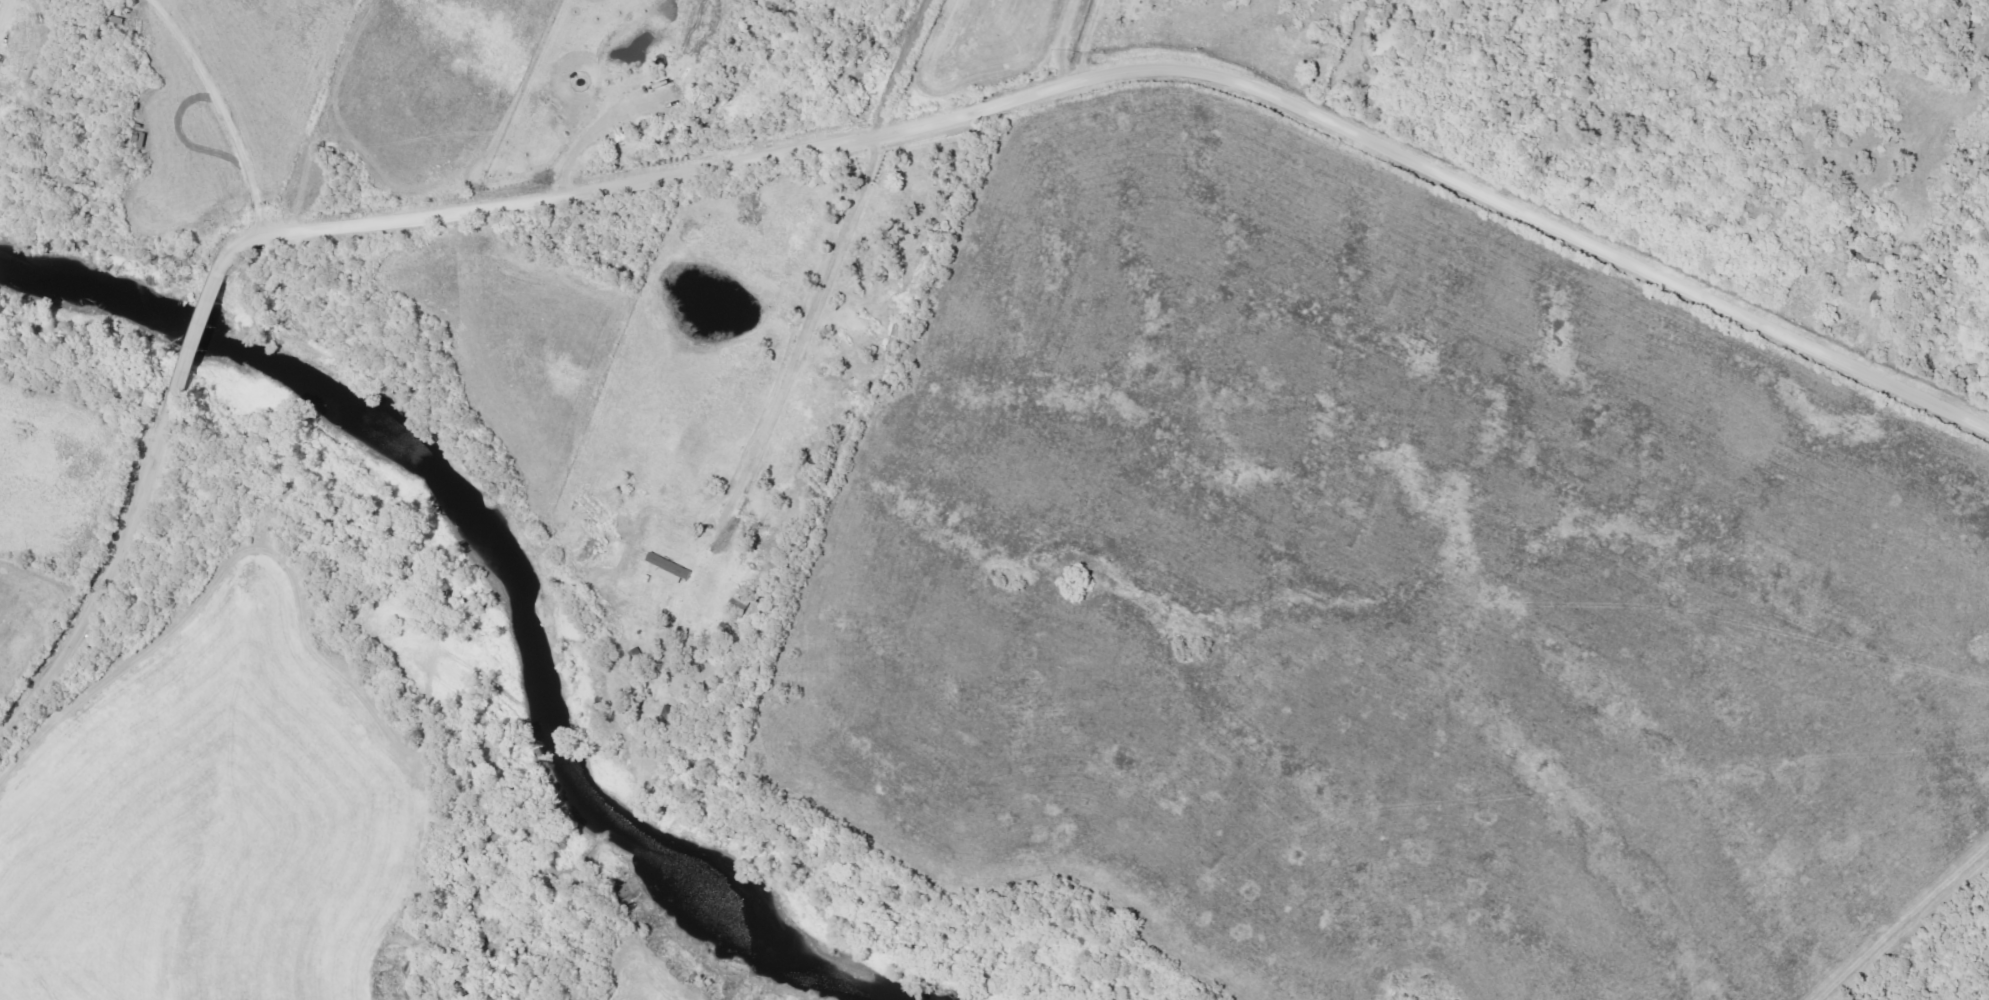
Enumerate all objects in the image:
road: (903, 64)
road: (1129, 65)
road: (221, 111)
road: (582, 148)
road: (203, 330)
road: (793, 358)
building: (671, 570)
road: (116, 576)
building: (741, 603)
road: (1900, 887)

